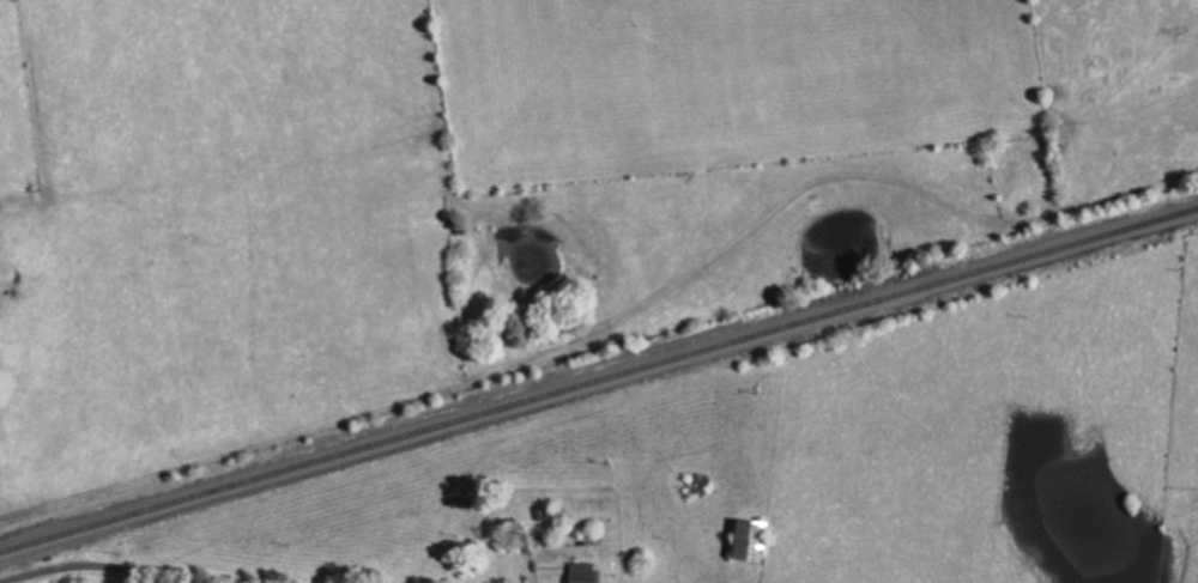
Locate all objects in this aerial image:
railway: (599, 376)
road: (109, 569)
building: (588, 572)

